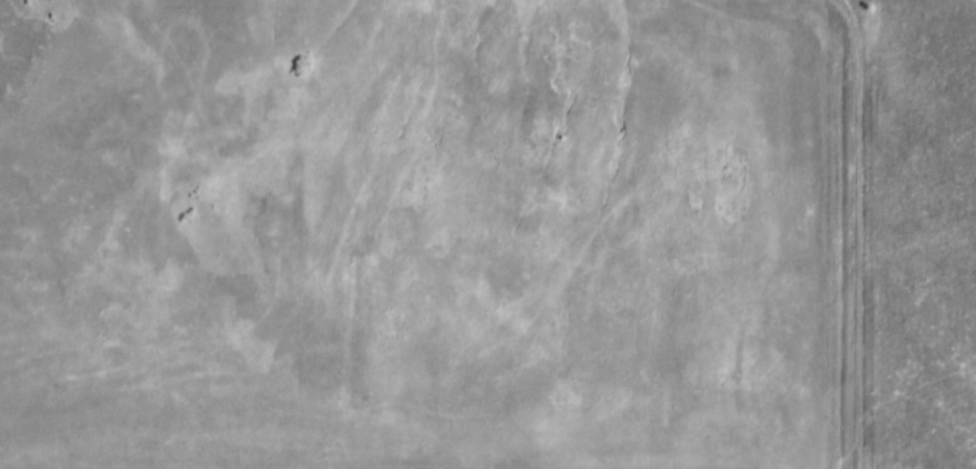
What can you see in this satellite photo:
road: (854, 232)

